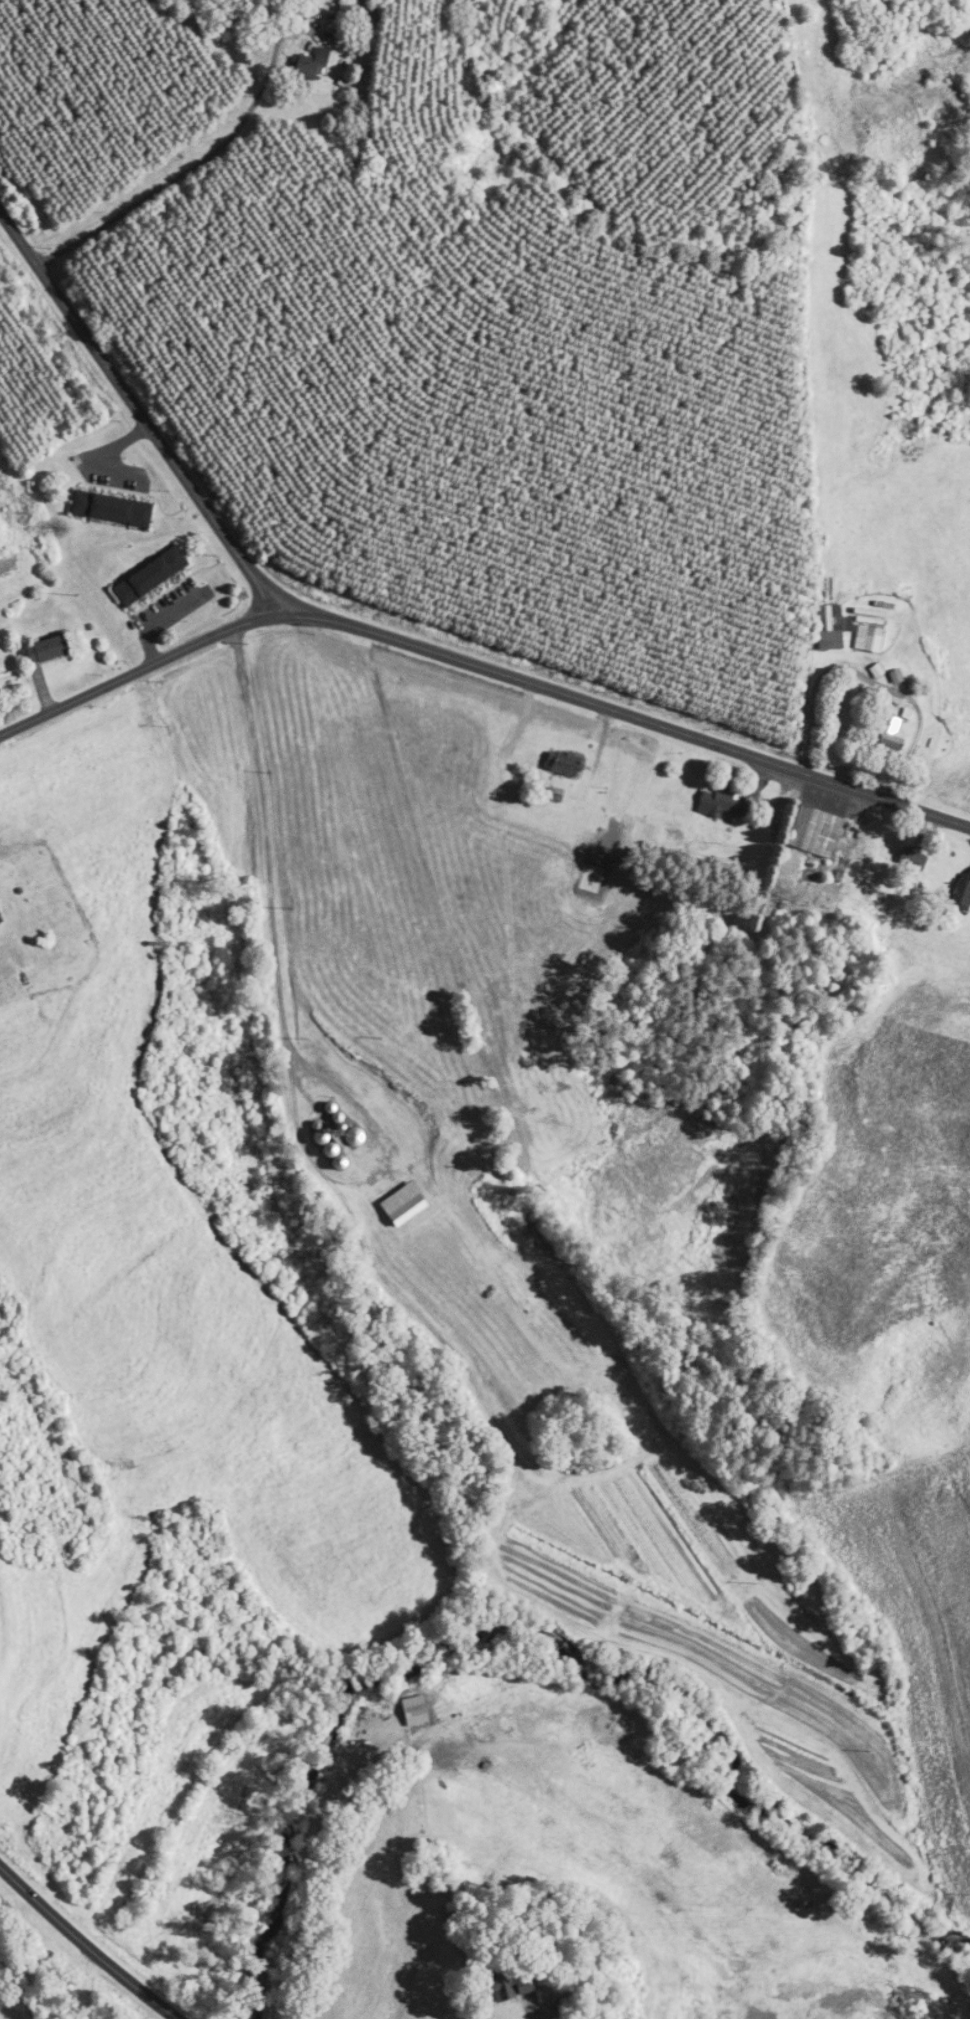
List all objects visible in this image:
building: (313, 64)
road: (204, 161)
road: (138, 412)
building: (113, 508)
building: (151, 576)
building: (832, 627)
building: (869, 638)
building: (49, 648)
road: (137, 671)
road: (624, 713)
building: (892, 736)
building: (564, 762)
building: (723, 803)
building: (815, 831)
building: (913, 859)
building: (962, 893)
building: (1, 921)
road: (273, 1031)
building: (353, 1136)
building: (404, 1204)
road: (84, 1945)
building: (504, 1989)
road: (533, 2008)

